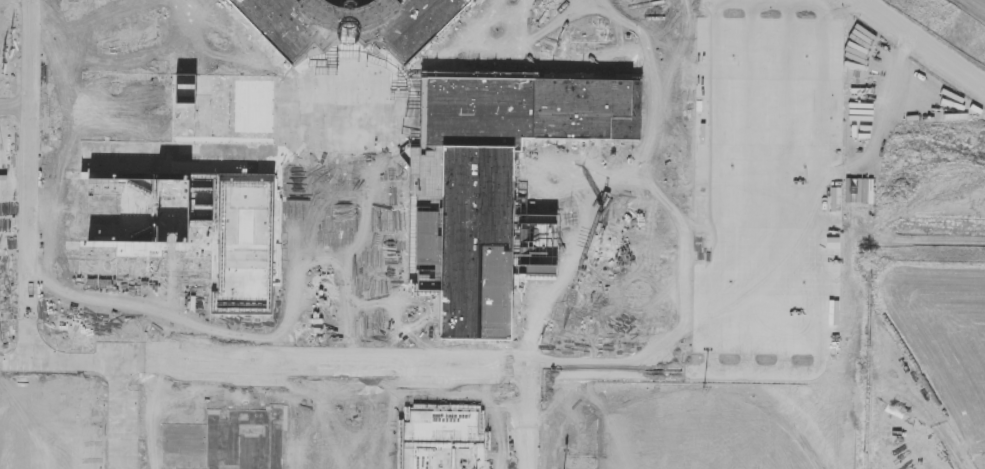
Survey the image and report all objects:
road: (977, 5)
road: (95, 11)
road: (948, 23)
road: (14, 109)
building: (180, 170)
road: (28, 181)
road: (711, 188)
road: (749, 188)
road: (785, 189)
road: (821, 193)
road: (741, 227)
road: (660, 252)
road: (13, 363)
road: (72, 363)
road: (318, 364)
park: (693, 435)
building: (440, 440)
building: (226, 442)

